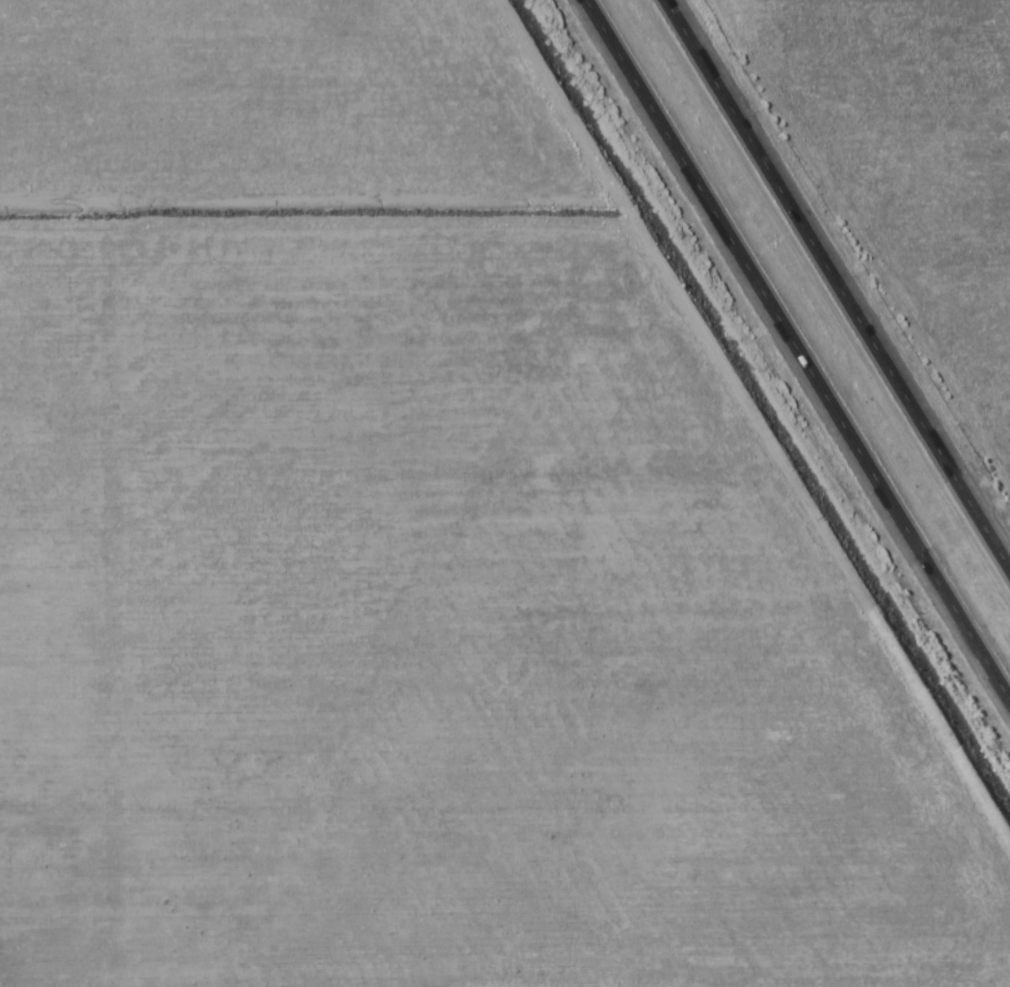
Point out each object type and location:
road: (839, 281)
road: (798, 349)

